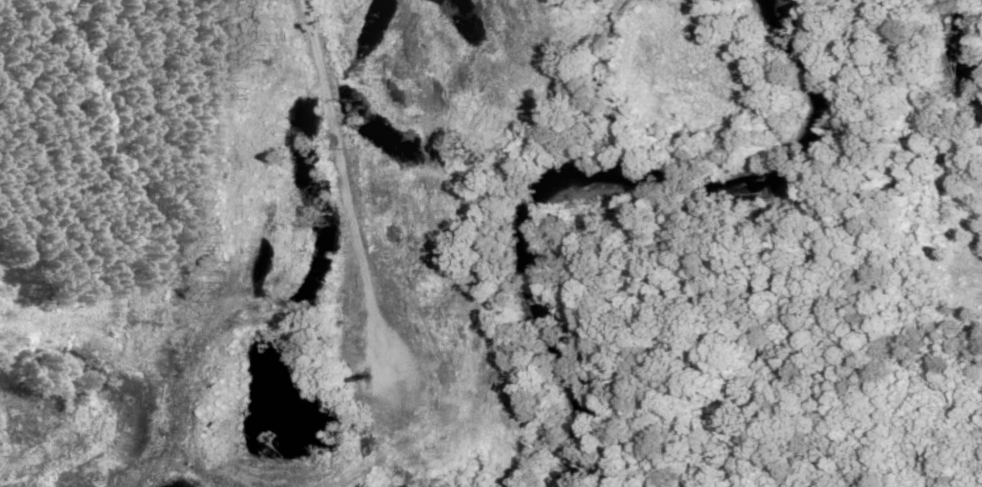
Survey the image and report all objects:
river: (959, 56)
river: (599, 170)
road: (343, 177)

